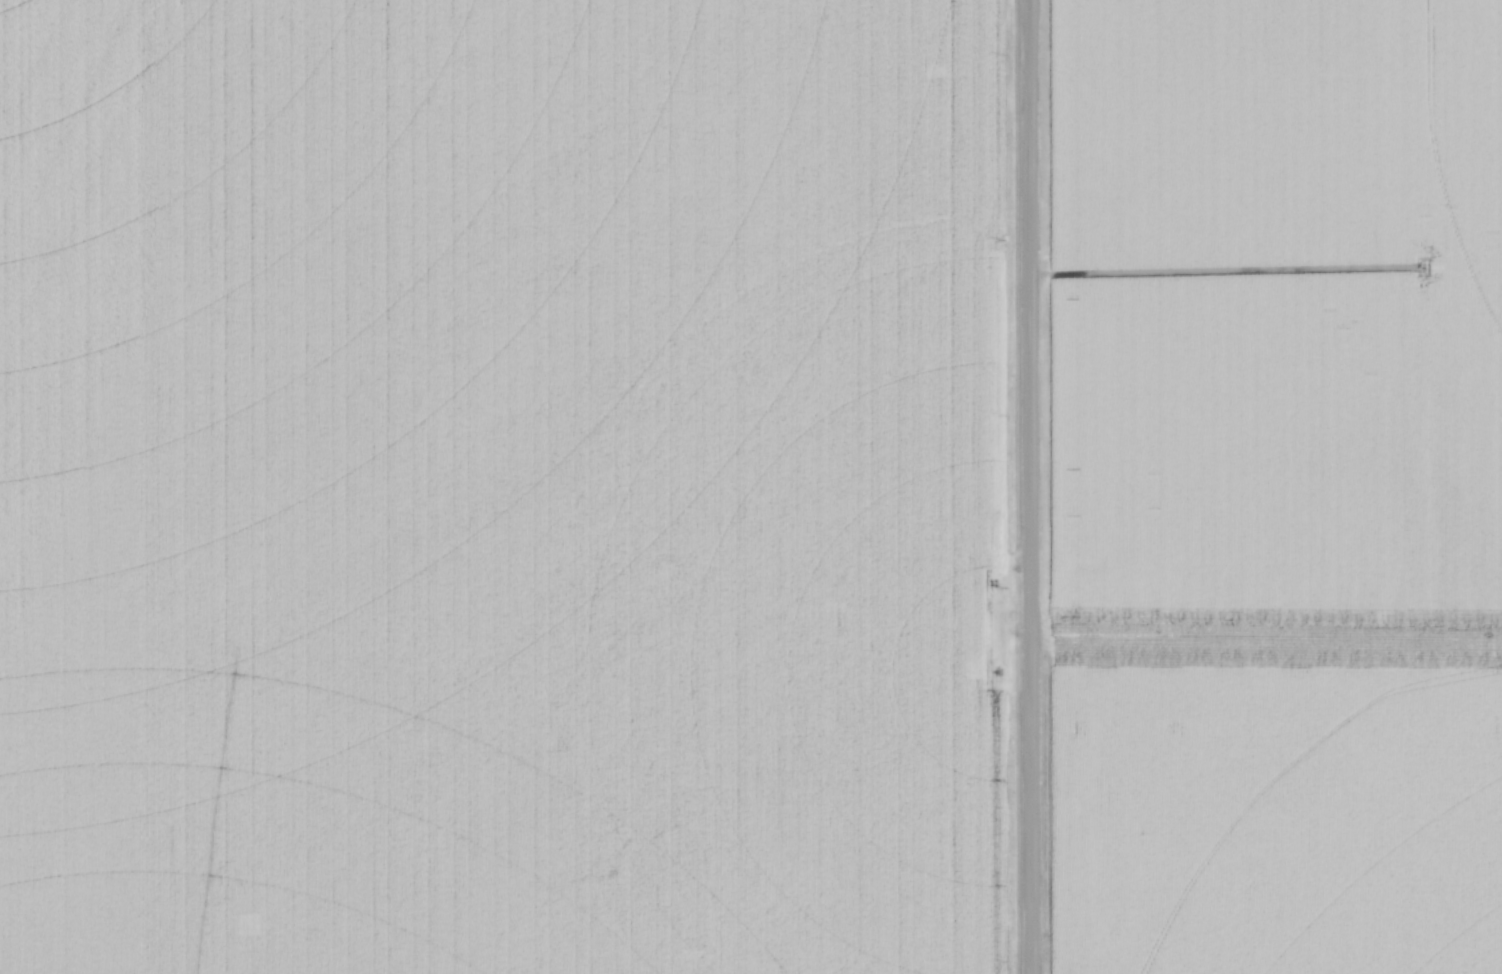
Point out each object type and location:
road: (1022, 486)

